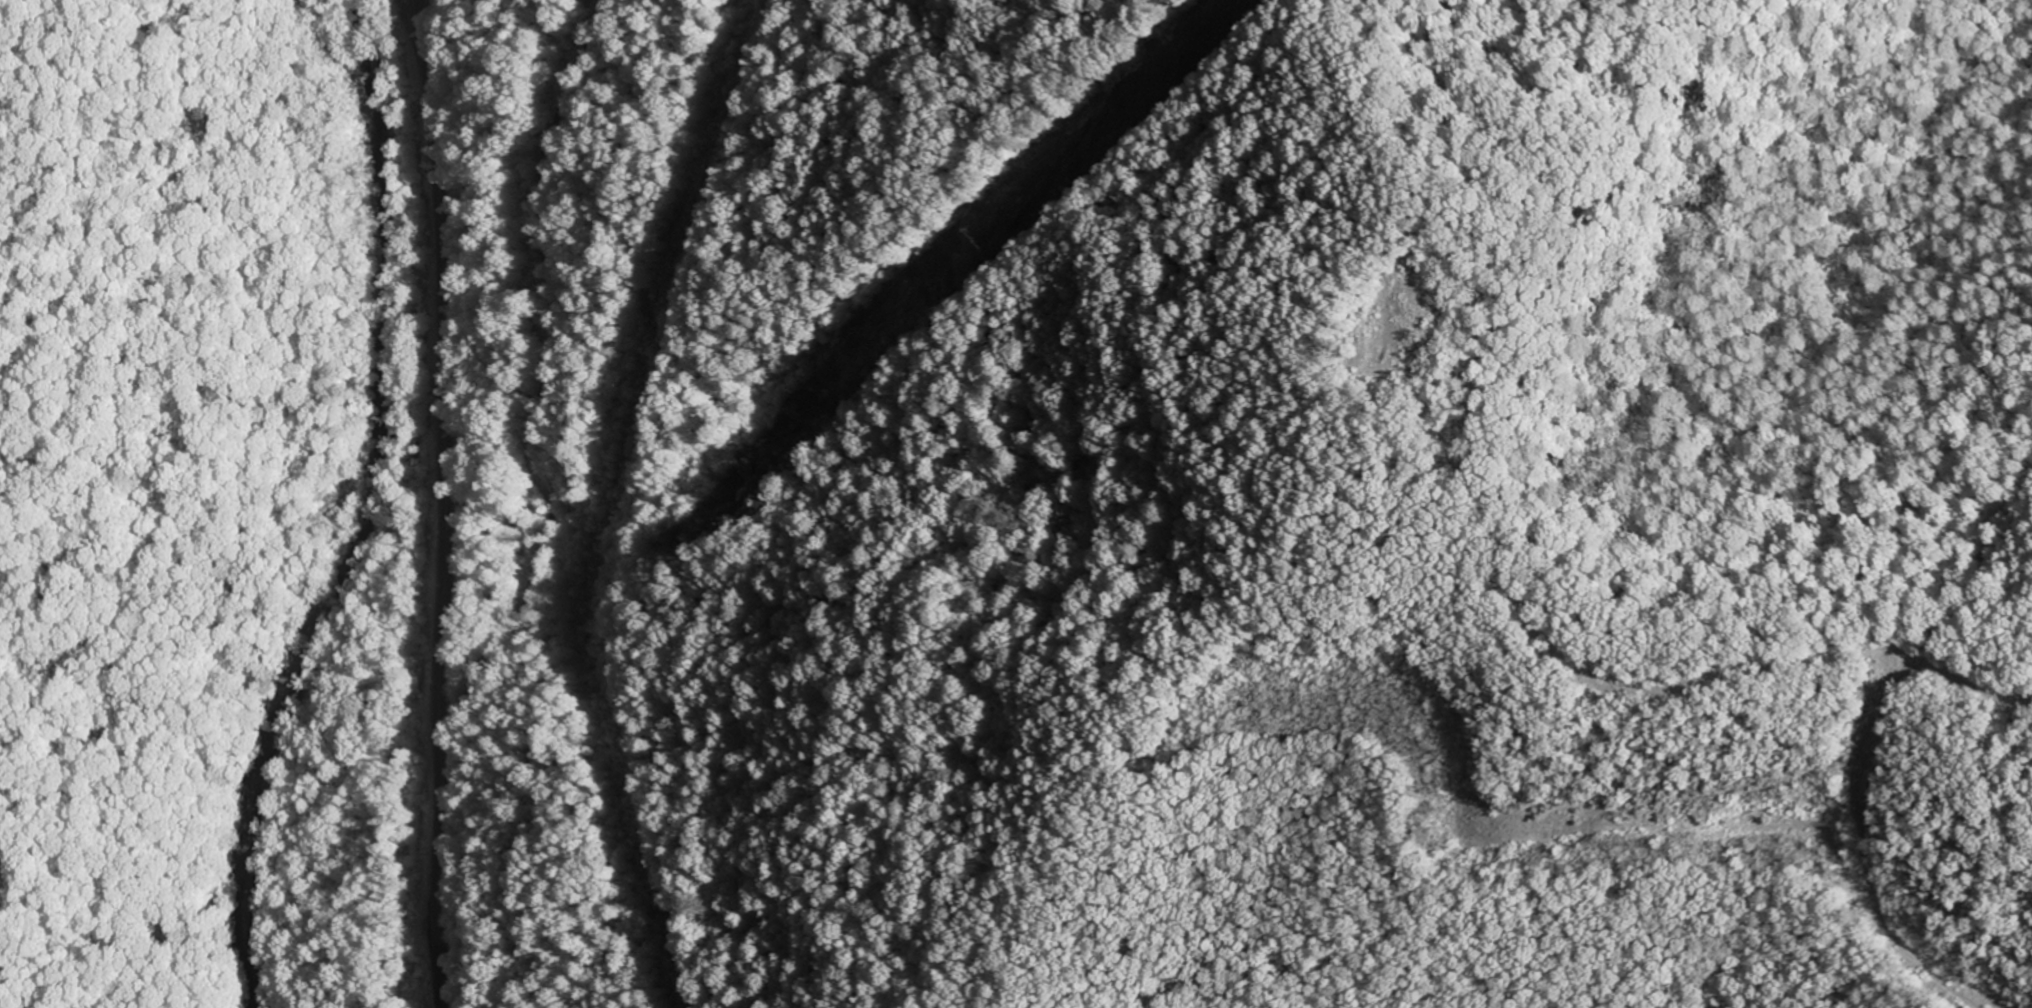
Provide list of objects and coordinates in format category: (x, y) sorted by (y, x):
road: (452, 503)

